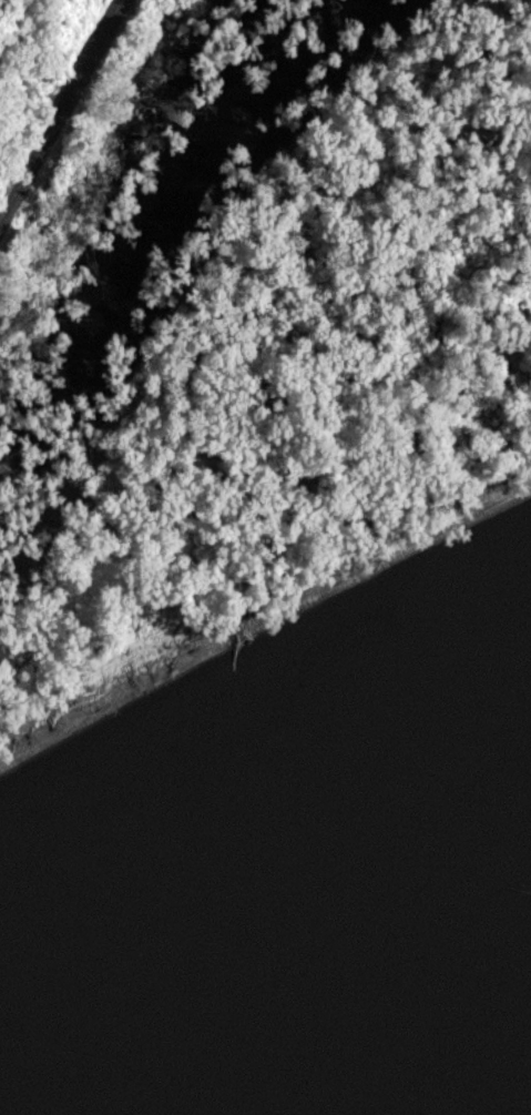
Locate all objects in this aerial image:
railway: (59, 108)
park: (249, 328)

